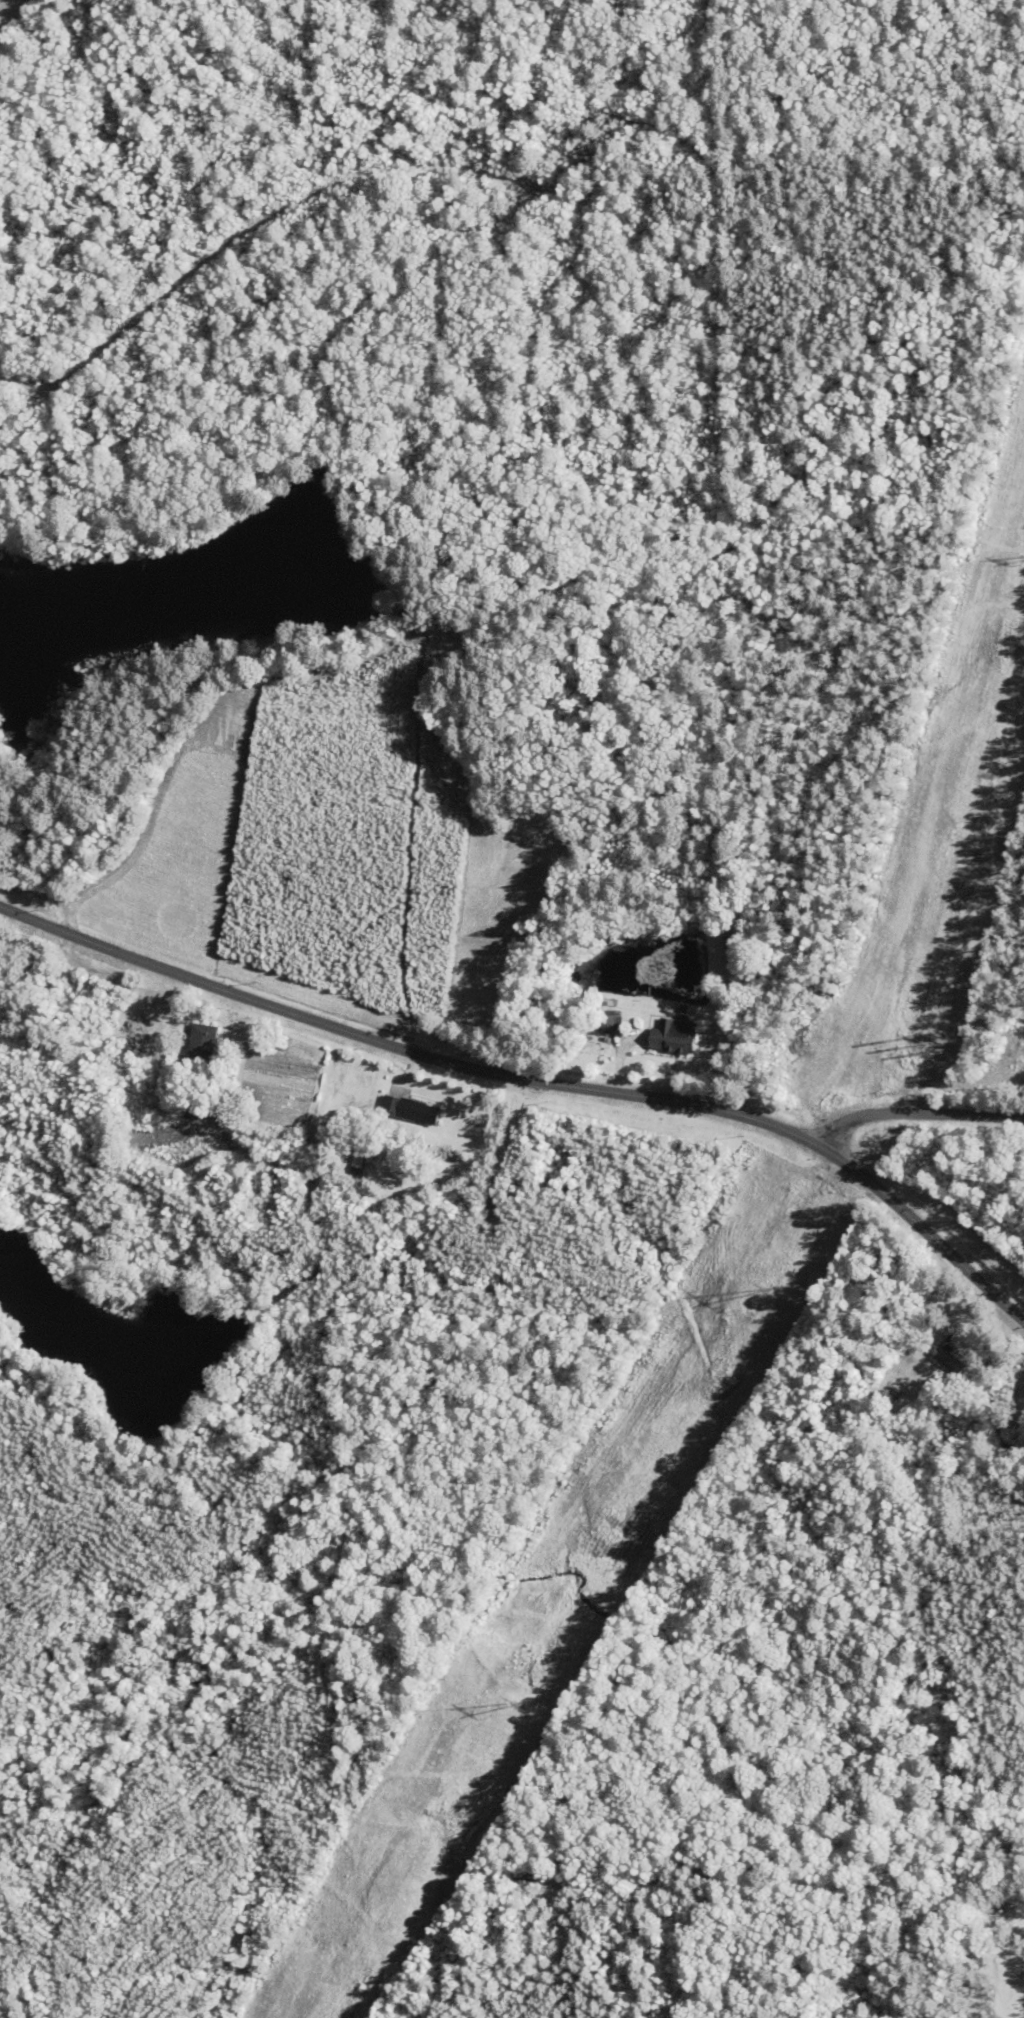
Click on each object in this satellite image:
building: (613, 1022)
building: (677, 1036)
building: (203, 1041)
power tower: (930, 1042)
road: (534, 1079)
building: (419, 1111)
road: (917, 1111)
building: (360, 1159)
power tower: (774, 1290)
building: (949, 1359)
building: (1000, 1432)
power tower: (525, 1702)

